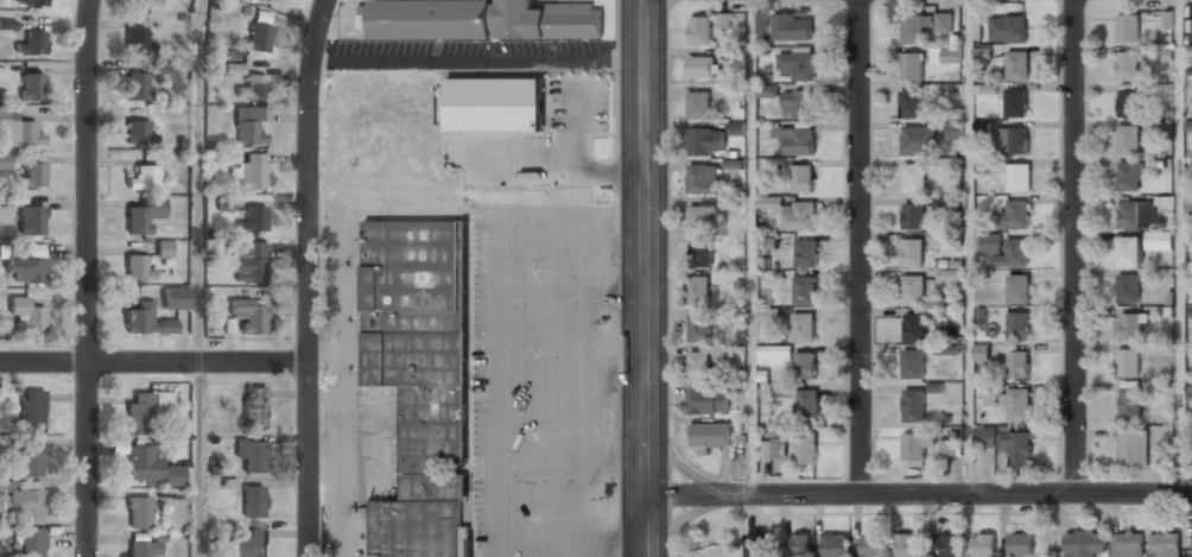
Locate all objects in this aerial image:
building: (262, 0)
building: (273, 1)
building: (28, 2)
building: (144, 4)
building: (484, 19)
building: (724, 20)
building: (944, 21)
building: (762, 23)
building: (793, 27)
building: (914, 27)
building: (1008, 27)
building: (1128, 27)
building: (699, 30)
building: (259, 32)
building: (135, 39)
building: (32, 44)
building: (982, 53)
building: (945, 55)
building: (213, 63)
building: (798, 64)
building: (1016, 64)
building: (912, 65)
building: (1127, 65)
building: (700, 67)
building: (163, 69)
building: (233, 69)
building: (31, 87)
building: (137, 87)
building: (253, 87)
building: (767, 90)
building: (736, 91)
building: (795, 102)
building: (909, 102)
building: (1015, 102)
building: (1129, 102)
building: (494, 105)
building: (698, 105)
building: (1190, 125)
building: (249, 127)
building: (736, 127)
building: (19, 133)
building: (137, 133)
building: (953, 133)
building: (1128, 139)
building: (918, 140)
building: (1012, 140)
building: (705, 141)
building: (797, 141)
building: (5, 162)
building: (253, 171)
building: (33, 176)
building: (1128, 176)
building: (803, 177)
building: (914, 177)
building: (1019, 177)
building: (145, 178)
road: (197, 179)
building: (702, 179)
building: (769, 202)
building: (945, 203)
building: (227, 204)
building: (1135, 214)
building: (144, 215)
building: (1014, 215)
building: (798, 216)
building: (913, 216)
building: (705, 217)
building: (31, 221)
building: (254, 221)
building: (946, 239)
building: (1159, 240)
building: (771, 242)
road: (969, 247)
road: (1074, 247)
road: (1177, 247)
building: (164, 248)
road: (749, 248)
road: (860, 248)
building: (1004, 249)
building: (1131, 251)
building: (700, 253)
building: (912, 253)
building: (806, 254)
building: (247, 262)
building: (23, 267)
building: (135, 268)
road: (309, 277)
road: (87, 278)
road: (648, 278)
building: (912, 289)
building: (1019, 289)
building: (1127, 289)
building: (698, 290)
building: (804, 290)
building: (176, 298)
building: (1190, 311)
building: (26, 315)
building: (769, 315)
building: (249, 316)
building: (146, 322)
building: (1017, 324)
building: (1129, 325)
building: (914, 327)
building: (699, 328)
building: (803, 328)
building: (982, 353)
building: (774, 354)
road: (153, 361)
building: (1128, 361)
building: (913, 363)
building: (1017, 363)
building: (698, 365)
building: (804, 366)
building: (420, 378)
building: (991, 393)
building: (705, 400)
building: (1129, 401)
building: (253, 405)
building: (807, 405)
building: (914, 405)
building: (1017, 405)
building: (32, 411)
building: (142, 411)
building: (710, 435)
building: (1007, 443)
building: (915, 444)
building: (949, 447)
building: (1131, 447)
building: (805, 448)
building: (773, 450)
building: (252, 454)
building: (1159, 455)
road: (196, 458)
building: (32, 461)
building: (150, 467)
road: (919, 495)
building: (254, 502)
building: (26, 504)
building: (138, 513)
building: (33, 543)
building: (251, 543)
building: (755, 544)
building: (799, 544)
building: (833, 544)
building: (1020, 544)
building: (1084, 544)
building: (1128, 544)
building: (1164, 544)
building: (906, 545)
building: (945, 545)
building: (983, 545)
building: (871, 546)
building: (145, 549)

